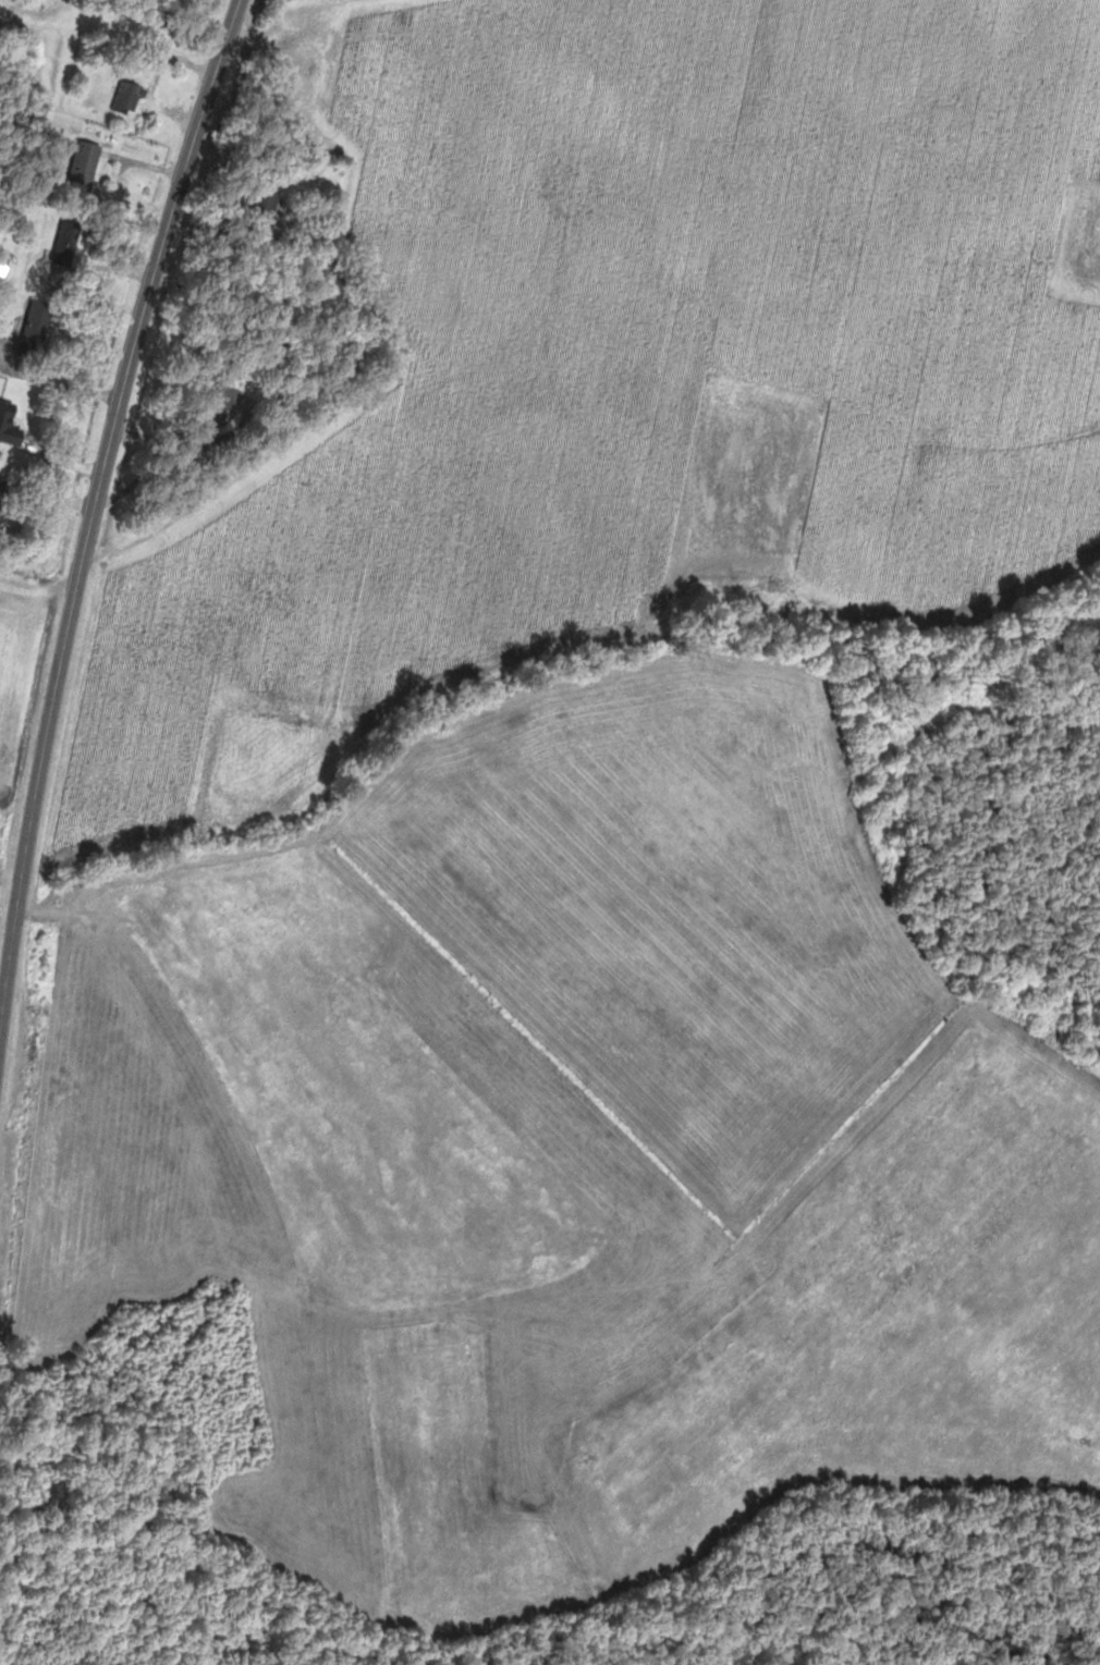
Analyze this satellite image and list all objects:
road: (21, 7)
building: (131, 99)
building: (87, 167)
building: (271, 195)
building: (69, 244)
building: (39, 329)
building: (232, 400)
building: (11, 424)
building: (3, 494)
road: (95, 513)

